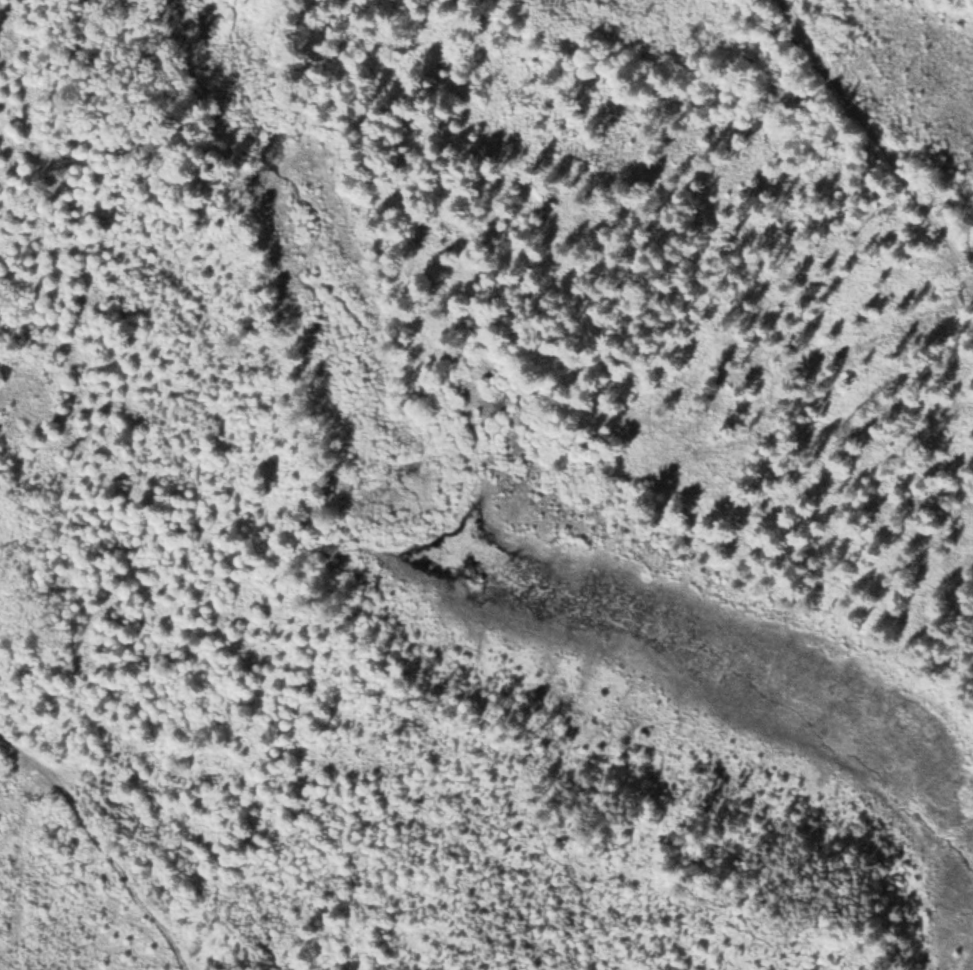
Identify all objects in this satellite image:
road: (879, 130)
road: (32, 758)

